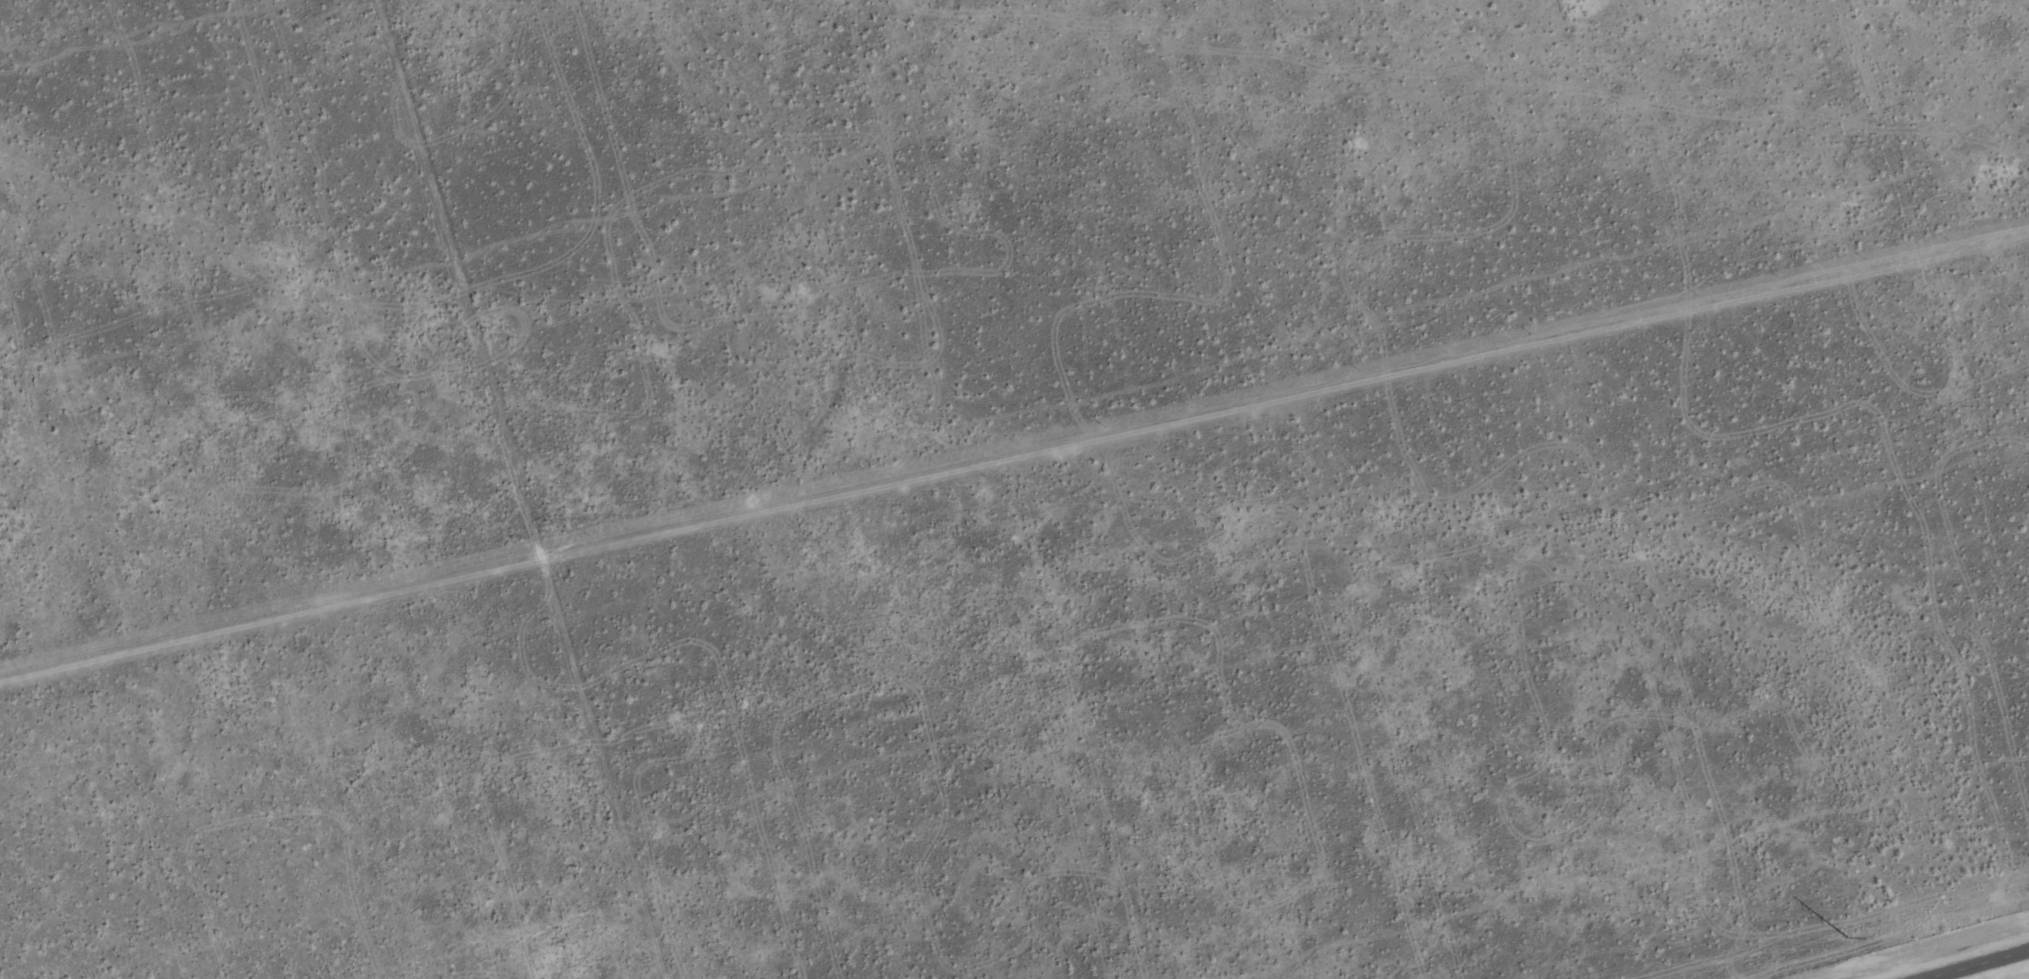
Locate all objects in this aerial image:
power tower: (1847, 938)
road: (1989, 968)

